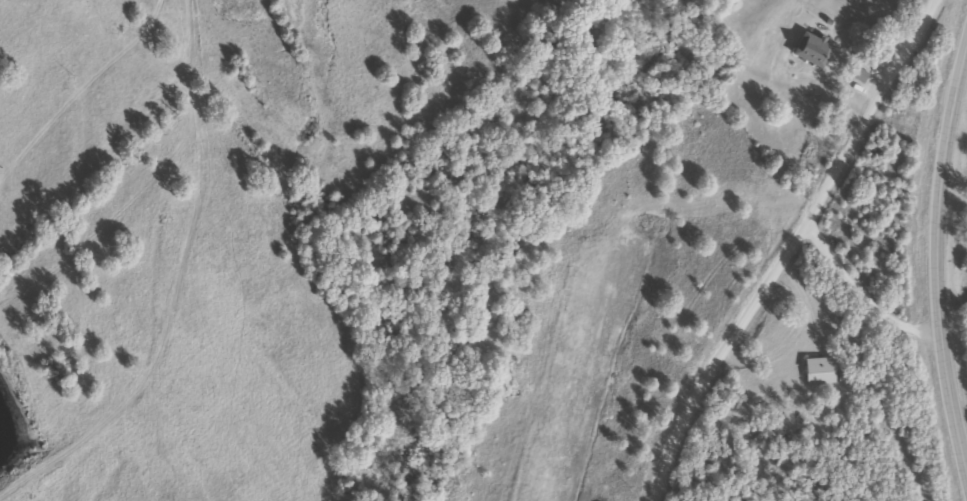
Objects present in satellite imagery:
building: (809, 50)
road: (772, 243)
road: (935, 258)
building: (817, 372)

